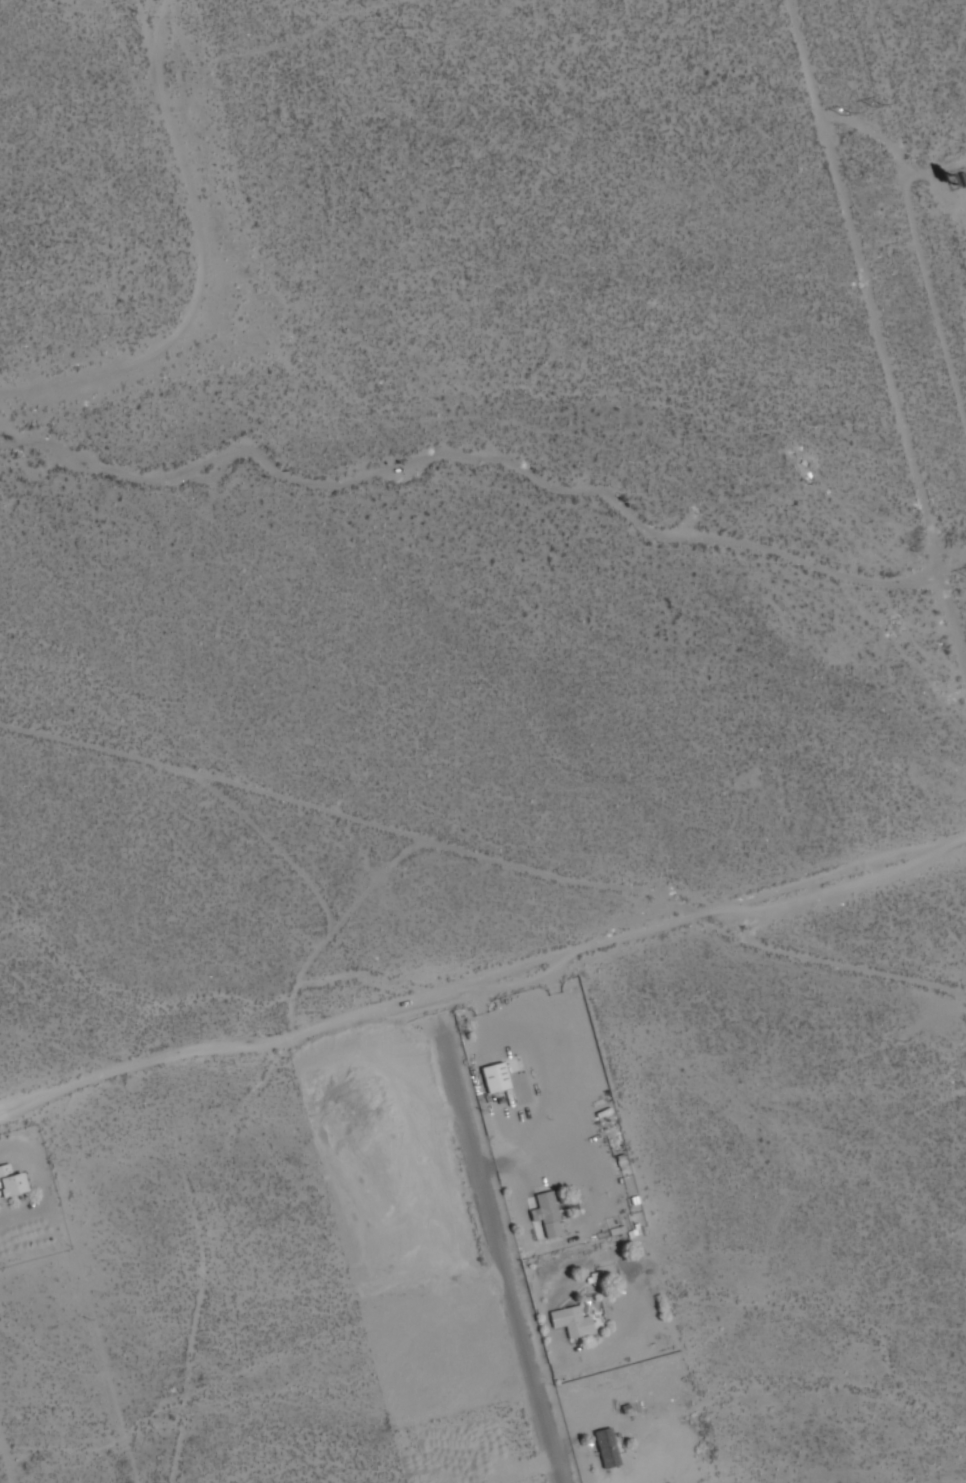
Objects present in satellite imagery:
power tower: (876, 106)
power tower: (844, 114)
road: (875, 333)
road: (699, 918)
road: (213, 1050)
building: (495, 1078)
building: (550, 1220)
road: (496, 1242)
building: (571, 1321)
building: (606, 1447)
road: (4, 1469)

